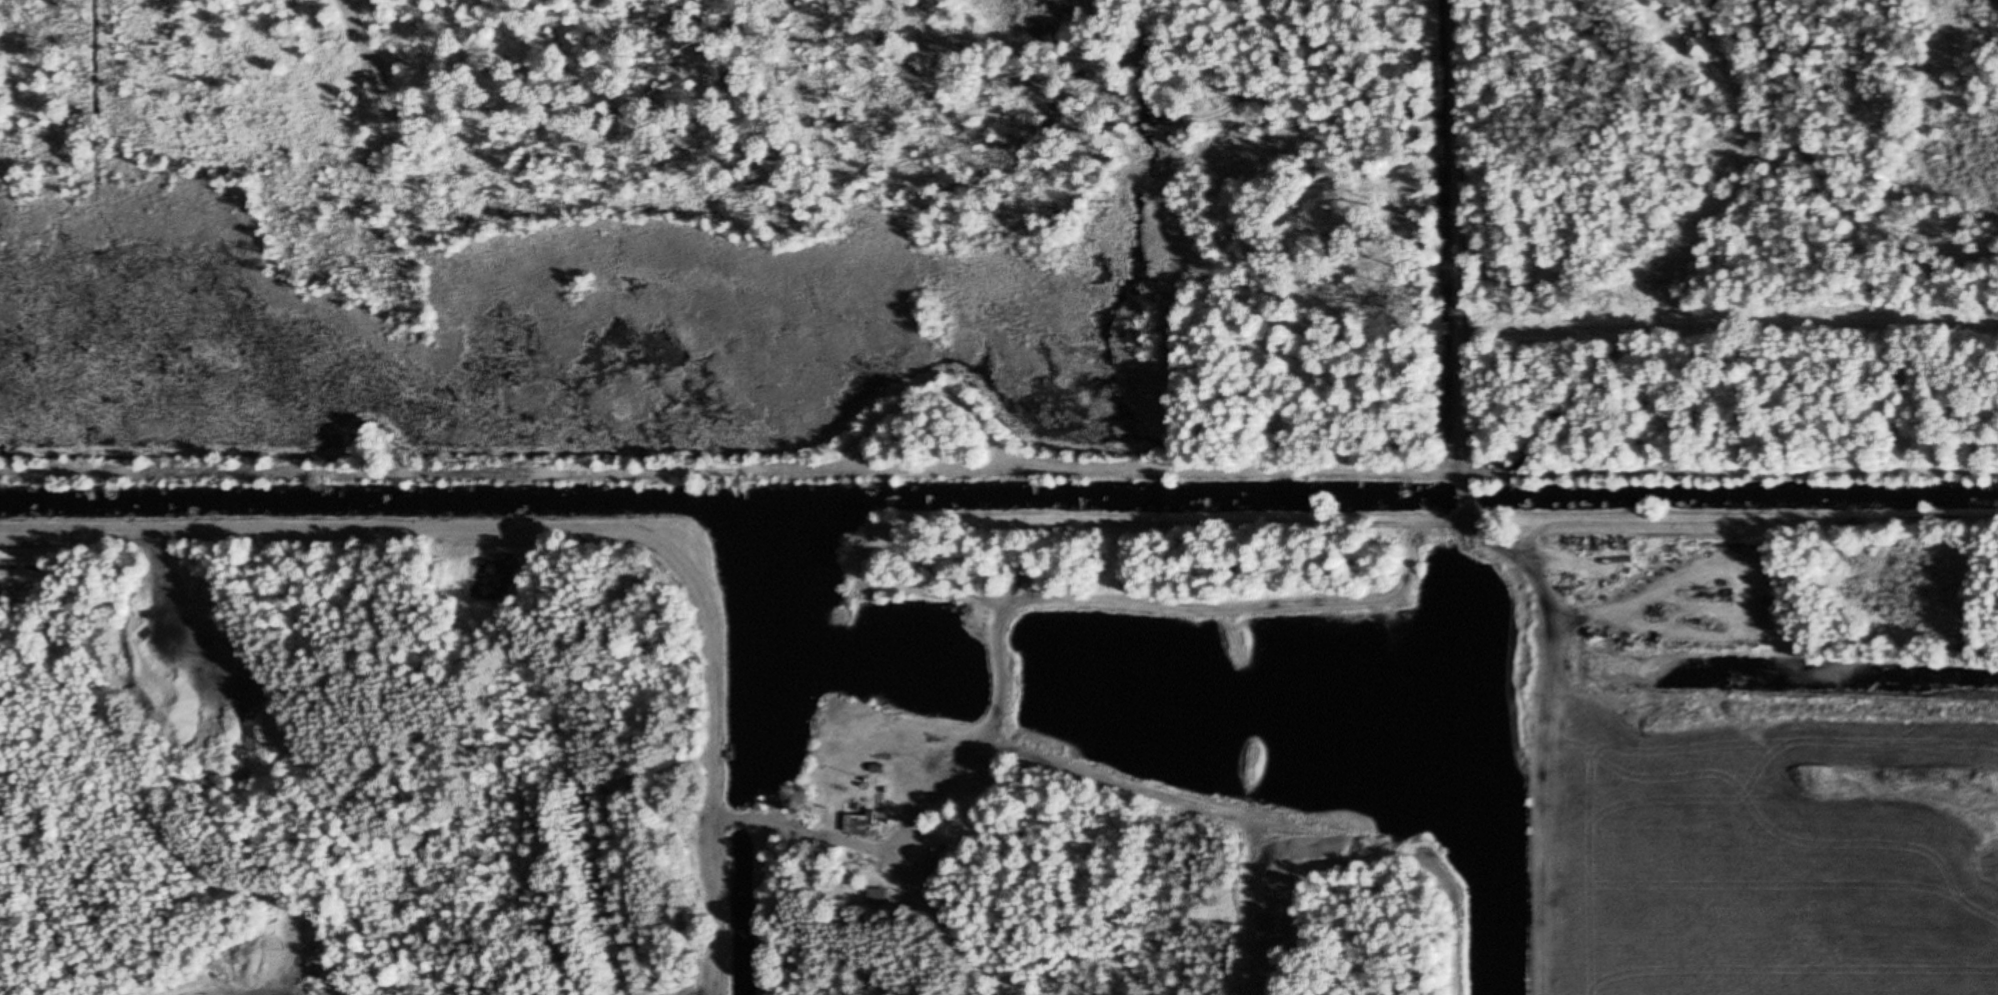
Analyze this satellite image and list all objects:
building: (762, 804)
building: (859, 823)
building: (880, 895)

